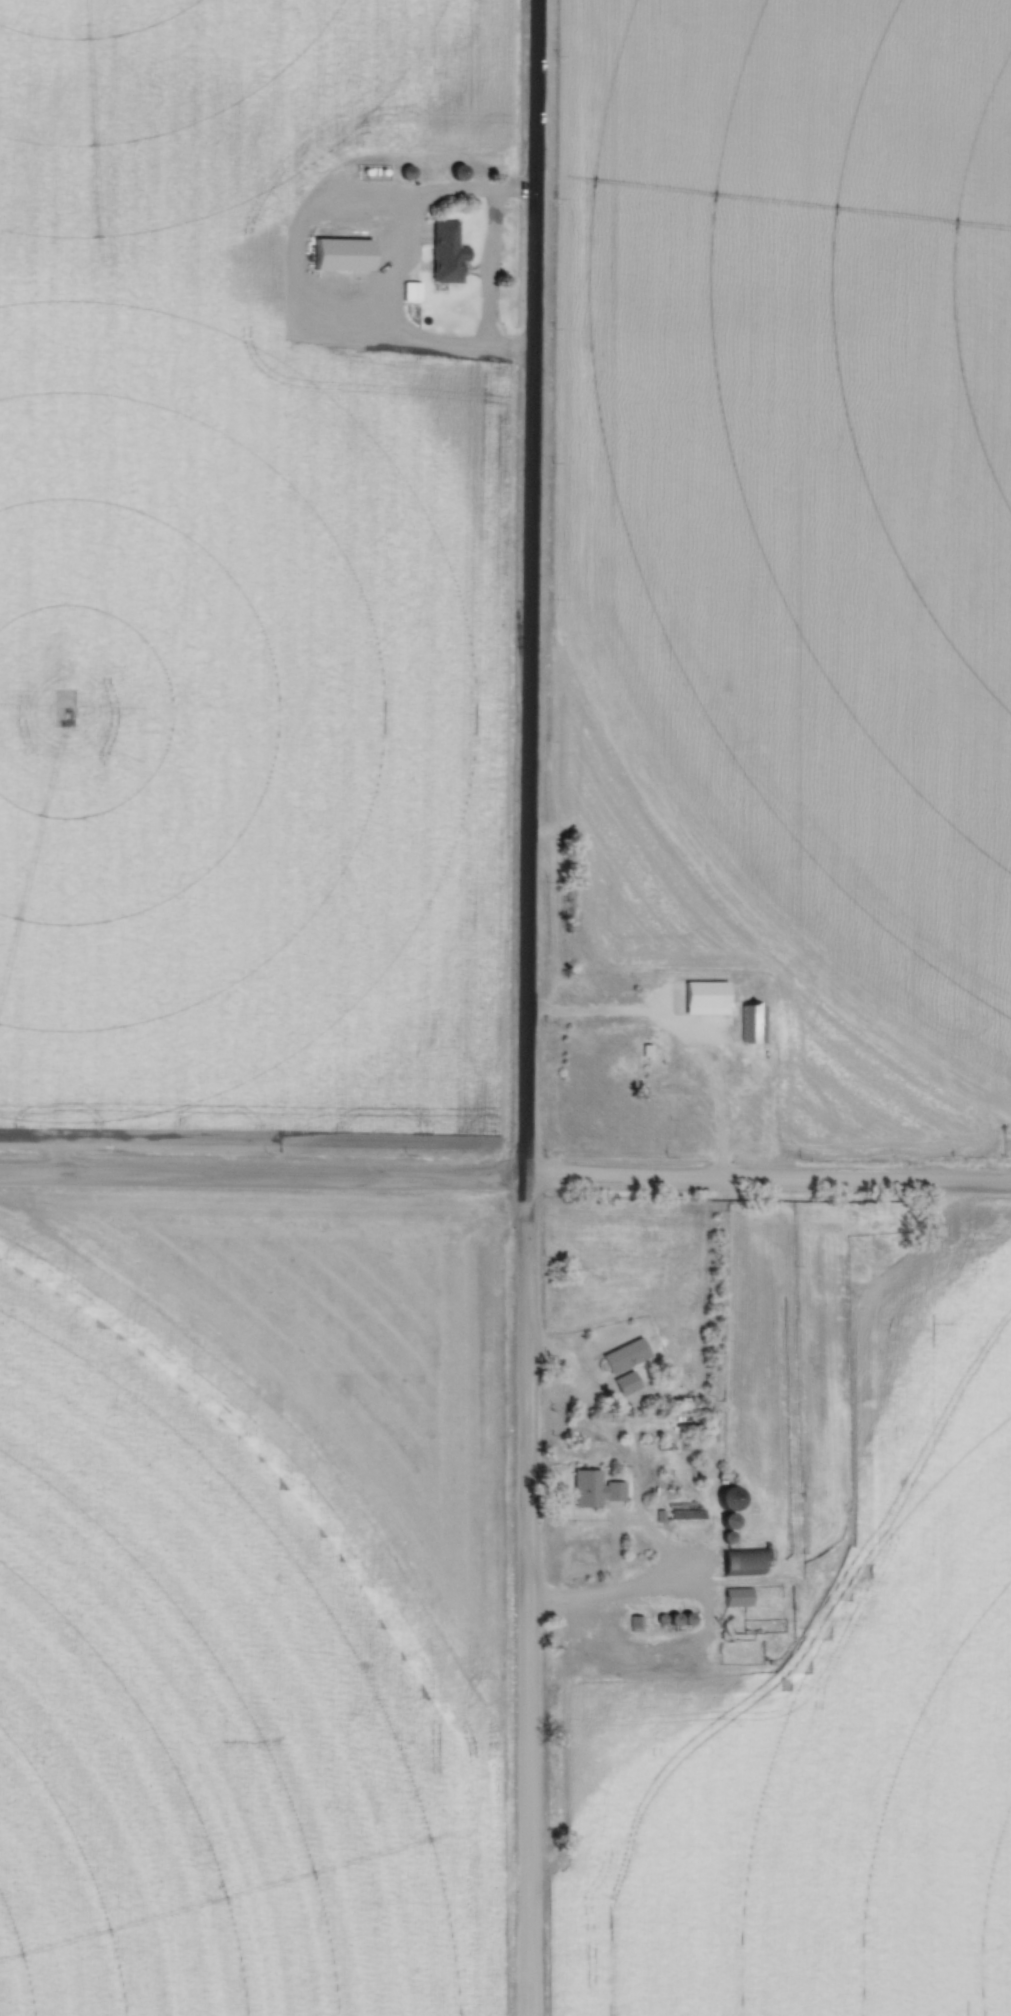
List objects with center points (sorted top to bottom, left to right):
building: (406, 172)
silo: (406, 172)
building: (459, 172)
silo: (459, 172)
building: (447, 252)
building: (342, 254)
road: (490, 268)
road: (392, 277)
building: (412, 290)
crop: (793, 534)
road: (533, 588)
crop: (240, 591)
building: (751, 1022)
road: (263, 1179)
road: (768, 1180)
building: (625, 1355)
building: (626, 1385)
road: (637, 1486)
building: (593, 1491)
building: (730, 1498)
silo: (730, 1498)
building: (683, 1512)
building: (659, 1515)
building: (730, 1520)
silo: (730, 1520)
building: (729, 1537)
silo: (729, 1537)
building: (742, 1561)
road: (662, 1586)
road: (528, 1596)
building: (738, 1597)
crop: (251, 1604)
building: (660, 1619)
silo: (660, 1619)
building: (673, 1619)
silo: (673, 1619)
building: (687, 1619)
silo: (687, 1619)
building: (636, 1623)
crop: (824, 1767)

